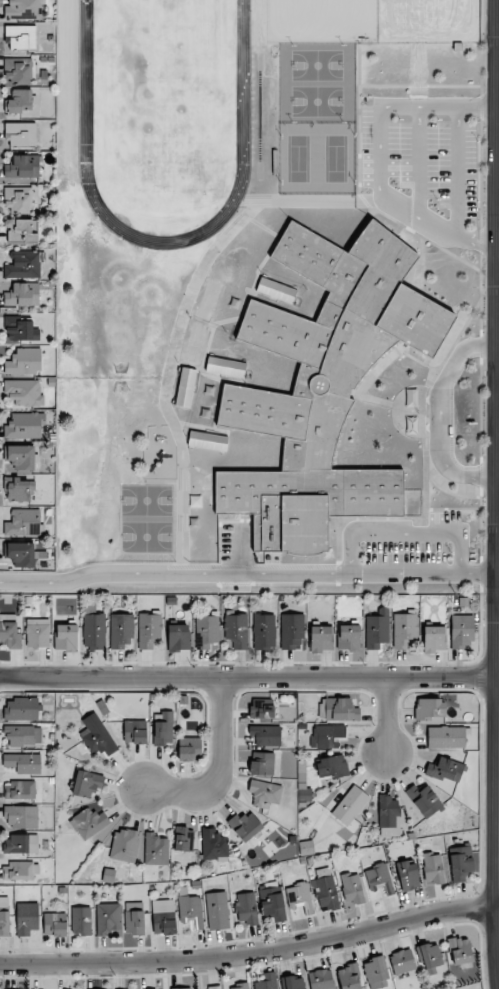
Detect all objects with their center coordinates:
building: (24, 10)
building: (21, 36)
road: (490, 41)
park: (317, 65)
building: (17, 71)
track: (243, 80)
road: (420, 86)
park: (164, 93)
building: (20, 101)
park: (317, 101)
road: (359, 124)
building: (21, 134)
road: (378, 157)
park: (298, 158)
park: (336, 159)
parking lot: (443, 161)
road: (419, 164)
building: (23, 166)
road: (456, 172)
building: (18, 200)
road: (330, 200)
road: (411, 223)
building: (22, 231)
building: (23, 265)
building: (276, 290)
road: (490, 292)
building: (22, 295)
building: (209, 300)
building: (20, 329)
road: (482, 339)
building: (195, 343)
building: (24, 361)
building: (225, 367)
building: (185, 387)
building: (323, 387)
building: (23, 393)
road: (438, 416)
building: (23, 426)
building: (207, 440)
building: (20, 456)
building: (20, 488)
park: (146, 500)
building: (23, 523)
road: (489, 530)
road: (405, 533)
park: (146, 536)
road: (241, 549)
parking lot: (408, 552)
building: (20, 554)
road: (249, 574)
building: (149, 629)
building: (377, 629)
building: (236, 630)
building: (405, 630)
building: (9, 631)
building: (94, 631)
building: (121, 631)
building: (206, 631)
building: (264, 631)
building: (292, 631)
building: (461, 631)
building: (37, 635)
building: (66, 637)
building: (178, 637)
building: (348, 637)
building: (321, 638)
building: (434, 638)
road: (249, 676)
building: (261, 708)
building: (21, 709)
building: (338, 709)
building: (429, 709)
road: (387, 717)
building: (163, 729)
building: (134, 731)
building: (20, 735)
building: (265, 735)
building: (97, 736)
building: (327, 736)
building: (446, 737)
building: (189, 749)
building: (23, 763)
building: (262, 763)
building: (331, 766)
road: (222, 767)
building: (445, 769)
building: (87, 783)
building: (20, 790)
building: (265, 793)
building: (424, 799)
building: (350, 807)
building: (21, 816)
building: (388, 816)
building: (89, 822)
building: (245, 826)
building: (183, 839)
building: (21, 844)
building: (124, 845)
building: (213, 845)
building: (156, 848)
building: (306, 848)
building: (460, 863)
building: (432, 868)
building: (19, 871)
building: (407, 875)
building: (379, 878)
building: (325, 889)
building: (352, 889)
building: (299, 896)
building: (271, 900)
building: (246, 909)
building: (191, 910)
building: (217, 910)
building: (4, 916)
building: (163, 916)
building: (134, 918)
building: (27, 919)
building: (108, 919)
building: (81, 920)
building: (55, 924)
building: (460, 950)
road: (251, 954)
building: (431, 955)
building: (402, 961)
building: (376, 971)
building: (349, 977)
building: (320, 979)
building: (267, 981)
building: (295, 982)
building: (238, 986)
building: (214, 987)
building: (182, 988)

